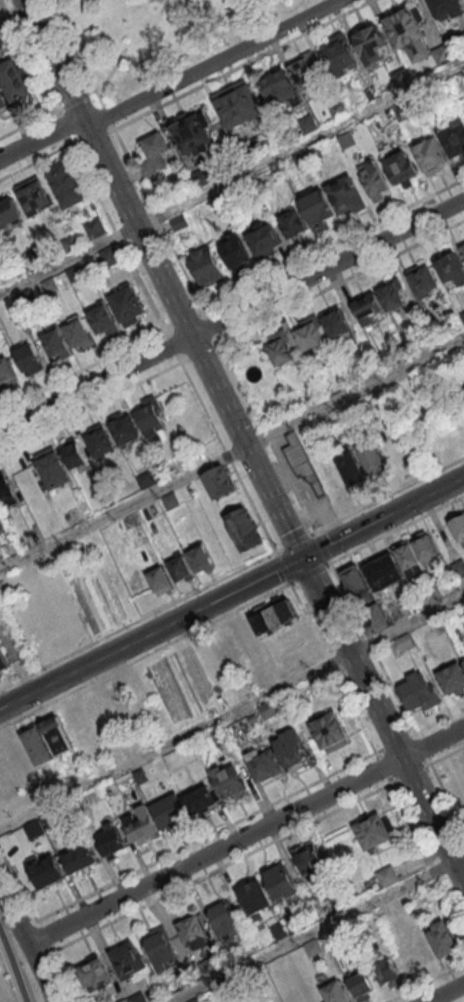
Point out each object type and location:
building: (447, 9)
road: (13, 13)
park: (161, 35)
building: (409, 37)
building: (461, 41)
building: (1, 47)
building: (372, 47)
road: (76, 53)
road: (28, 55)
building: (444, 56)
building: (340, 57)
road: (53, 61)
road: (215, 64)
road: (241, 65)
building: (309, 75)
building: (402, 78)
building: (15, 83)
building: (278, 89)
building: (370, 95)
road: (76, 101)
building: (3, 104)
building: (238, 106)
building: (339, 111)
building: (405, 111)
road: (108, 118)
building: (309, 125)
road: (28, 126)
road: (65, 128)
road: (93, 136)
building: (194, 136)
road: (41, 139)
building: (455, 141)
road: (299, 145)
building: (156, 151)
building: (251, 152)
building: (316, 154)
building: (431, 158)
building: (302, 161)
road: (36, 162)
building: (148, 171)
building: (402, 172)
building: (201, 179)
building: (374, 182)
building: (67, 185)
building: (234, 195)
building: (34, 197)
building: (346, 198)
building: (219, 205)
building: (318, 211)
building: (10, 215)
building: (180, 224)
building: (292, 225)
building: (96, 230)
road: (117, 237)
building: (0, 240)
building: (264, 242)
building: (461, 244)
building: (71, 245)
building: (463, 252)
building: (235, 255)
building: (38, 257)
building: (111, 258)
road: (68, 262)
building: (207, 269)
building: (450, 271)
building: (76, 275)
building: (2, 281)
road: (342, 283)
building: (423, 284)
building: (50, 287)
road: (244, 288)
building: (27, 299)
building: (392, 299)
building: (129, 309)
building: (368, 312)
road: (231, 314)
building: (462, 317)
road: (184, 319)
building: (105, 324)
building: (336, 325)
road: (211, 326)
building: (80, 337)
building: (311, 339)
road: (192, 340)
building: (426, 342)
building: (58, 345)
road: (172, 346)
building: (280, 351)
road: (200, 353)
building: (29, 361)
building: (454, 361)
road: (82, 370)
building: (7, 376)
building: (463, 389)
road: (355, 394)
building: (151, 419)
building: (125, 431)
road: (267, 438)
building: (100, 444)
building: (74, 455)
building: (373, 461)
building: (302, 465)
building: (52, 469)
building: (352, 472)
building: (146, 482)
building: (219, 487)
road: (389, 493)
building: (7, 495)
building: (108, 501)
building: (171, 503)
road: (253, 505)
road: (123, 510)
road: (382, 516)
road: (397, 530)
building: (244, 533)
building: (459, 533)
road: (311, 534)
building: (426, 551)
traffic signals: (301, 558)
building: (200, 563)
building: (409, 563)
road: (283, 568)
building: (458, 570)
building: (181, 571)
road: (310, 574)
building: (385, 578)
building: (160, 584)
building: (358, 589)
building: (463, 609)
building: (273, 619)
road: (406, 627)
road: (150, 632)
parking lot: (10, 639)
building: (405, 646)
road: (370, 649)
road: (145, 656)
building: (463, 660)
building: (463, 665)
building: (3, 666)
building: (179, 671)
building: (452, 682)
building: (321, 686)
building: (419, 696)
building: (269, 712)
building: (98, 713)
road: (438, 720)
road: (381, 721)
building: (331, 736)
building: (216, 738)
building: (58, 740)
road: (173, 741)
road: (392, 741)
road: (420, 748)
building: (38, 749)
building: (291, 752)
road: (446, 754)
road: (382, 766)
crop: (457, 767)
building: (263, 769)
road: (411, 772)
building: (141, 779)
building: (228, 785)
road: (288, 794)
road: (446, 797)
building: (199, 804)
building: (169, 816)
parking lot: (64, 828)
building: (141, 829)
road: (243, 836)
building: (374, 836)
building: (110, 845)
parking lot: (26, 846)
road: (428, 854)
road: (458, 860)
building: (79, 862)
building: (311, 863)
road: (223, 866)
building: (45, 877)
building: (388, 878)
building: (279, 884)
road: (19, 887)
building: (255, 900)
building: (339, 901)
building: (223, 924)
building: (294, 926)
building: (280, 931)
road: (313, 932)
road: (46, 936)
building: (193, 936)
building: (443, 944)
building: (314, 949)
road: (27, 952)
building: (162, 953)
building: (414, 953)
building: (129, 965)
building: (214, 967)
road: (11, 971)
road: (65, 976)
building: (388, 977)
building: (94, 979)
building: (187, 981)
road: (425, 982)
building: (362, 988)
road: (445, 992)
building: (335, 994)
building: (139, 999)
building: (126, 1001)

